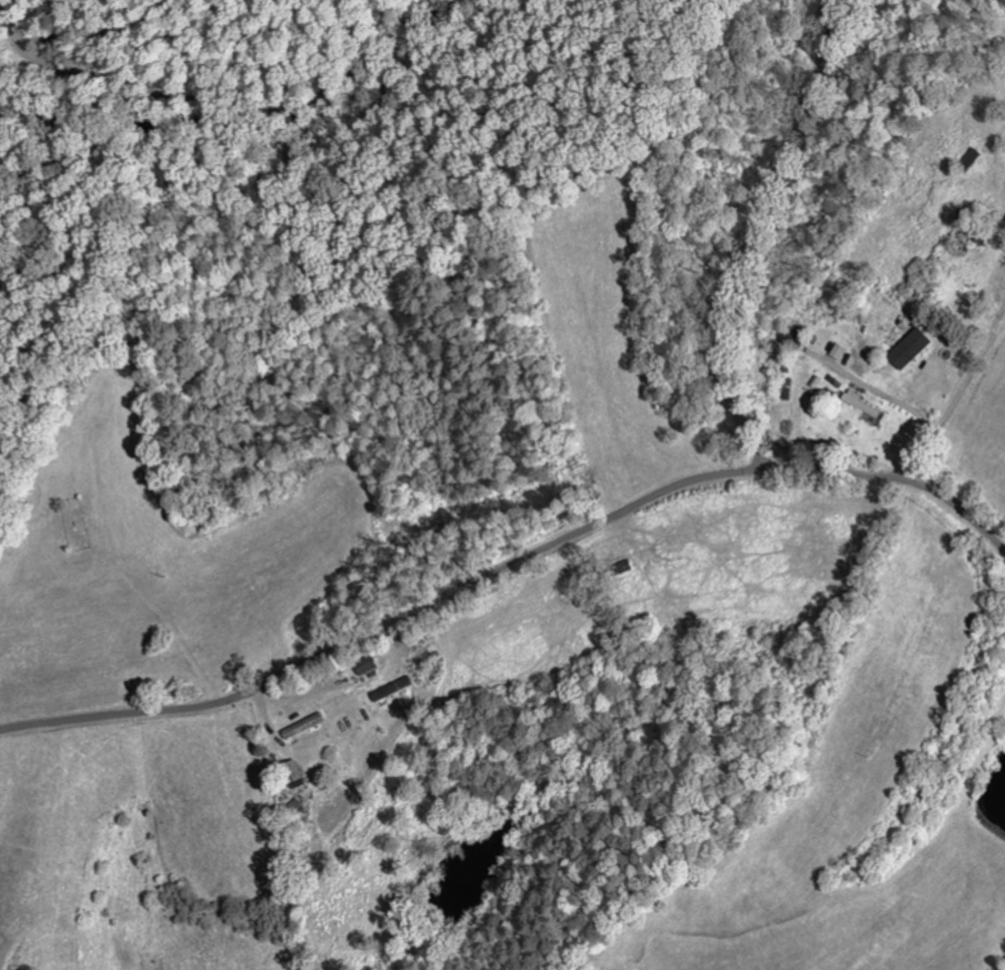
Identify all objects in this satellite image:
road: (829, 18)
road: (752, 234)
building: (907, 349)
building: (837, 352)
building: (858, 403)
road: (508, 567)
building: (364, 667)
building: (389, 689)

